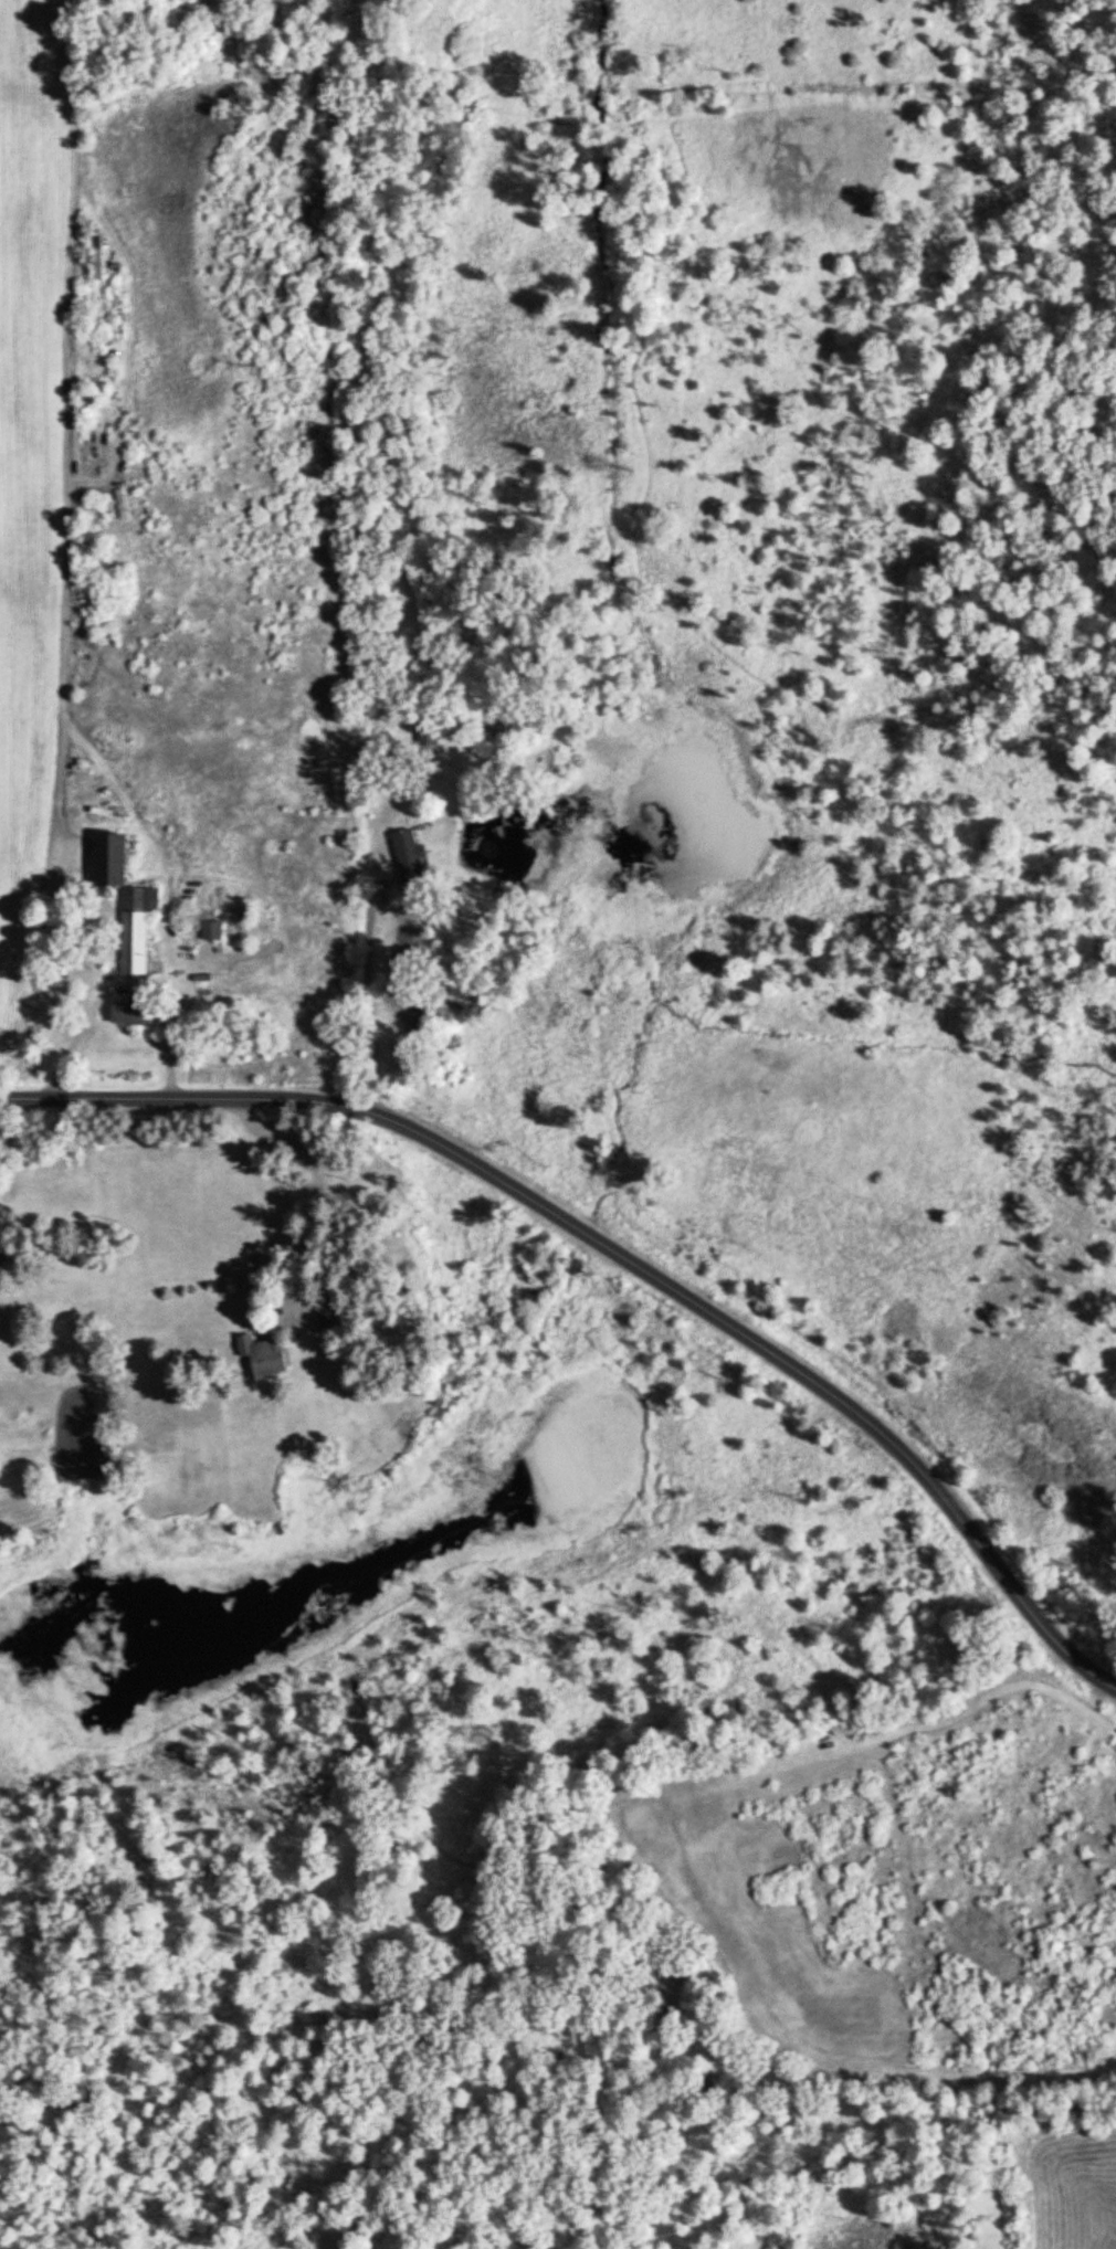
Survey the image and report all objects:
building: (96, 260)
crop: (20, 538)
building: (109, 862)
building: (408, 864)
building: (135, 929)
building: (211, 932)
road: (127, 985)
road: (386, 1002)
building: (131, 1016)
road: (320, 1187)
building: (1, 1246)
road: (621, 1258)
building: (327, 1313)
building: (263, 1356)

